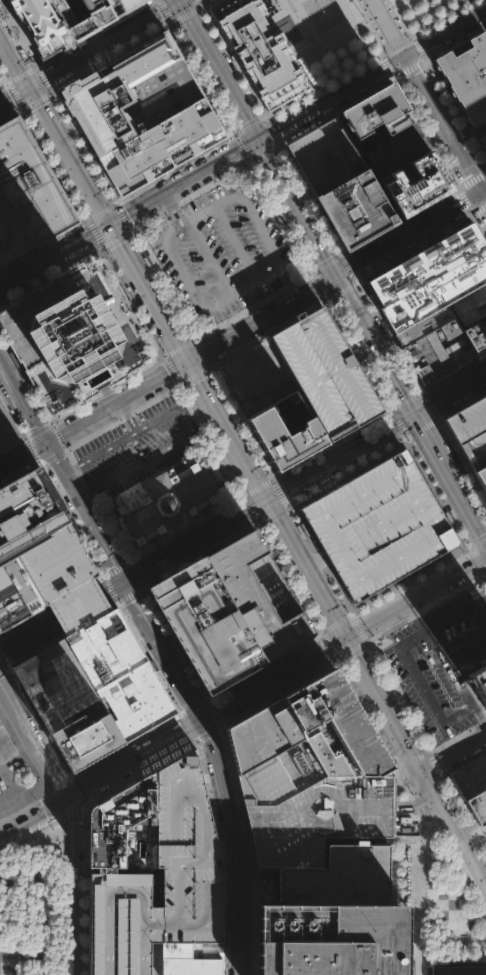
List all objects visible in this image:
road: (179, 0)
road: (180, 0)
building: (456, 0)
traffic signals: (180, 1)
road: (269, 1)
road: (268, 2)
road: (197, 3)
road: (200, 3)
building: (104, 9)
road: (164, 11)
fountain: (320, 12)
road: (185, 16)
road: (399, 17)
building: (49, 23)
road: (342, 25)
road: (368, 25)
road: (391, 25)
road: (350, 28)
road: (304, 29)
road: (446, 29)
park: (351, 32)
road: (92, 33)
road: (105, 43)
road: (417, 46)
building: (258, 49)
traffic signals: (406, 52)
road: (107, 54)
road: (15, 58)
road: (94, 58)
road: (366, 59)
road: (233, 60)
road: (385, 64)
road: (219, 69)
road: (407, 70)
road: (21, 74)
building: (155, 75)
building: (468, 75)
road: (435, 77)
road: (200, 79)
road: (42, 80)
traffic signals: (31, 86)
road: (14, 94)
road: (15, 94)
road: (332, 94)
road: (36, 100)
road: (334, 110)
building: (373, 111)
road: (446, 122)
road: (246, 123)
building: (135, 127)
parking lot: (135, 127)
road: (269, 130)
road: (424, 133)
traffic signals: (259, 138)
building: (484, 139)
road: (241, 146)
building: (395, 149)
road: (263, 152)
road: (70, 154)
building: (325, 156)
road: (173, 167)
road: (471, 178)
road: (183, 180)
building: (419, 182)
building: (30, 185)
road: (485, 191)
traffic signals: (485, 192)
road: (189, 195)
road: (309, 200)
road: (466, 201)
road: (298, 206)
road: (172, 208)
road: (209, 208)
building: (355, 209)
road: (479, 209)
road: (99, 210)
road: (121, 216)
road: (281, 216)
road: (400, 222)
traffic signals: (109, 223)
road: (478, 224)
road: (93, 231)
building: (10, 233)
parking garage: (10, 233)
road: (411, 233)
road: (115, 238)
road: (235, 242)
road: (410, 248)
parking lot: (221, 250)
road: (54, 254)
road: (209, 257)
road: (177, 263)
road: (325, 263)
building: (422, 263)
road: (280, 266)
road: (348, 269)
traffic signals: (338, 275)
road: (164, 280)
road: (319, 285)
building: (435, 289)
road: (341, 290)
road: (147, 292)
building: (470, 304)
road: (252, 306)
road: (262, 318)
building: (425, 323)
road: (265, 331)
building: (77, 333)
building: (478, 336)
road: (388, 338)
building: (435, 341)
road: (178, 348)
road: (239, 350)
road: (200, 354)
building: (446, 361)
traffic signals: (186, 362)
road: (172, 370)
building: (322, 373)
parking garage: (322, 373)
road: (455, 373)
road: (193, 375)
parking lot: (254, 377)
road: (263, 384)
road: (403, 399)
road: (22, 401)
road: (115, 401)
road: (425, 404)
road: (459, 404)
road: (411, 406)
traffic signals: (416, 413)
road: (127, 414)
road: (397, 422)
road: (239, 423)
road: (140, 425)
road: (45, 427)
road: (419, 427)
building: (7, 428)
parking garage: (7, 428)
building: (469, 432)
parking garage: (469, 432)
road: (29, 434)
road: (57, 436)
building: (280, 439)
road: (10, 441)
road: (207, 441)
traffic signals: (46, 442)
parking lot: (138, 445)
road: (338, 446)
road: (31, 450)
road: (22, 454)
road: (51, 456)
road: (460, 464)
road: (71, 467)
road: (130, 467)
road: (346, 470)
building: (479, 479)
road: (295, 481)
road: (257, 487)
road: (437, 491)
road: (279, 492)
traffic signals: (266, 499)
building: (163, 501)
road: (250, 508)
road: (85, 510)
road: (272, 513)
road: (185, 527)
building: (375, 527)
parking garage: (375, 527)
building: (23, 541)
road: (477, 541)
road: (200, 554)
road: (317, 559)
road: (476, 559)
road: (313, 562)
road: (305, 565)
road: (115, 567)
road: (485, 572)
road: (135, 573)
road: (485, 574)
road: (289, 576)
traffic signals: (124, 580)
road: (409, 580)
road: (108, 588)
road: (130, 593)
road: (78, 606)
road: (423, 606)
road: (51, 607)
building: (230, 610)
road: (334, 622)
road: (432, 625)
road: (357, 627)
building: (95, 633)
road: (61, 634)
road: (25, 636)
traffic signals: (346, 636)
road: (175, 642)
road: (328, 644)
road: (465, 649)
road: (350, 650)
road: (148, 656)
parking lot: (439, 660)
road: (2, 664)
road: (263, 664)
road: (2, 669)
road: (274, 677)
building: (477, 687)
road: (279, 692)
road: (398, 695)
road: (193, 704)
building: (67, 706)
road: (214, 711)
road: (456, 714)
traffic signals: (200, 720)
road: (35, 721)
road: (474, 722)
road: (187, 725)
building: (336, 726)
road: (208, 732)
road: (457, 734)
road: (210, 739)
road: (30, 741)
building: (5, 745)
road: (382, 745)
road: (21, 750)
building: (272, 751)
road: (454, 751)
road: (411, 759)
traffic signals: (423, 770)
road: (140, 772)
road: (407, 777)
building: (470, 777)
road: (54, 782)
road: (425, 784)
road: (76, 790)
road: (451, 790)
traffic signals: (62, 799)
road: (49, 806)
building: (478, 806)
road: (31, 814)
road: (70, 814)
building: (318, 817)
parking garage: (318, 817)
building: (121, 818)
road: (70, 822)
road: (454, 823)
road: (468, 828)
road: (482, 838)
park: (482, 839)
road: (36, 847)
building: (186, 857)
parking lot: (186, 857)
road: (462, 866)
building: (105, 868)
road: (231, 882)
road: (420, 887)
road: (484, 898)
park: (450, 906)
road: (73, 911)
building: (336, 918)
park: (34, 921)
building: (119, 923)
parking garage: (119, 923)
road: (241, 946)
building: (213, 951)
road: (14, 956)
road: (155, 958)
building: (187, 961)
road: (9, 967)
building: (456, 970)

